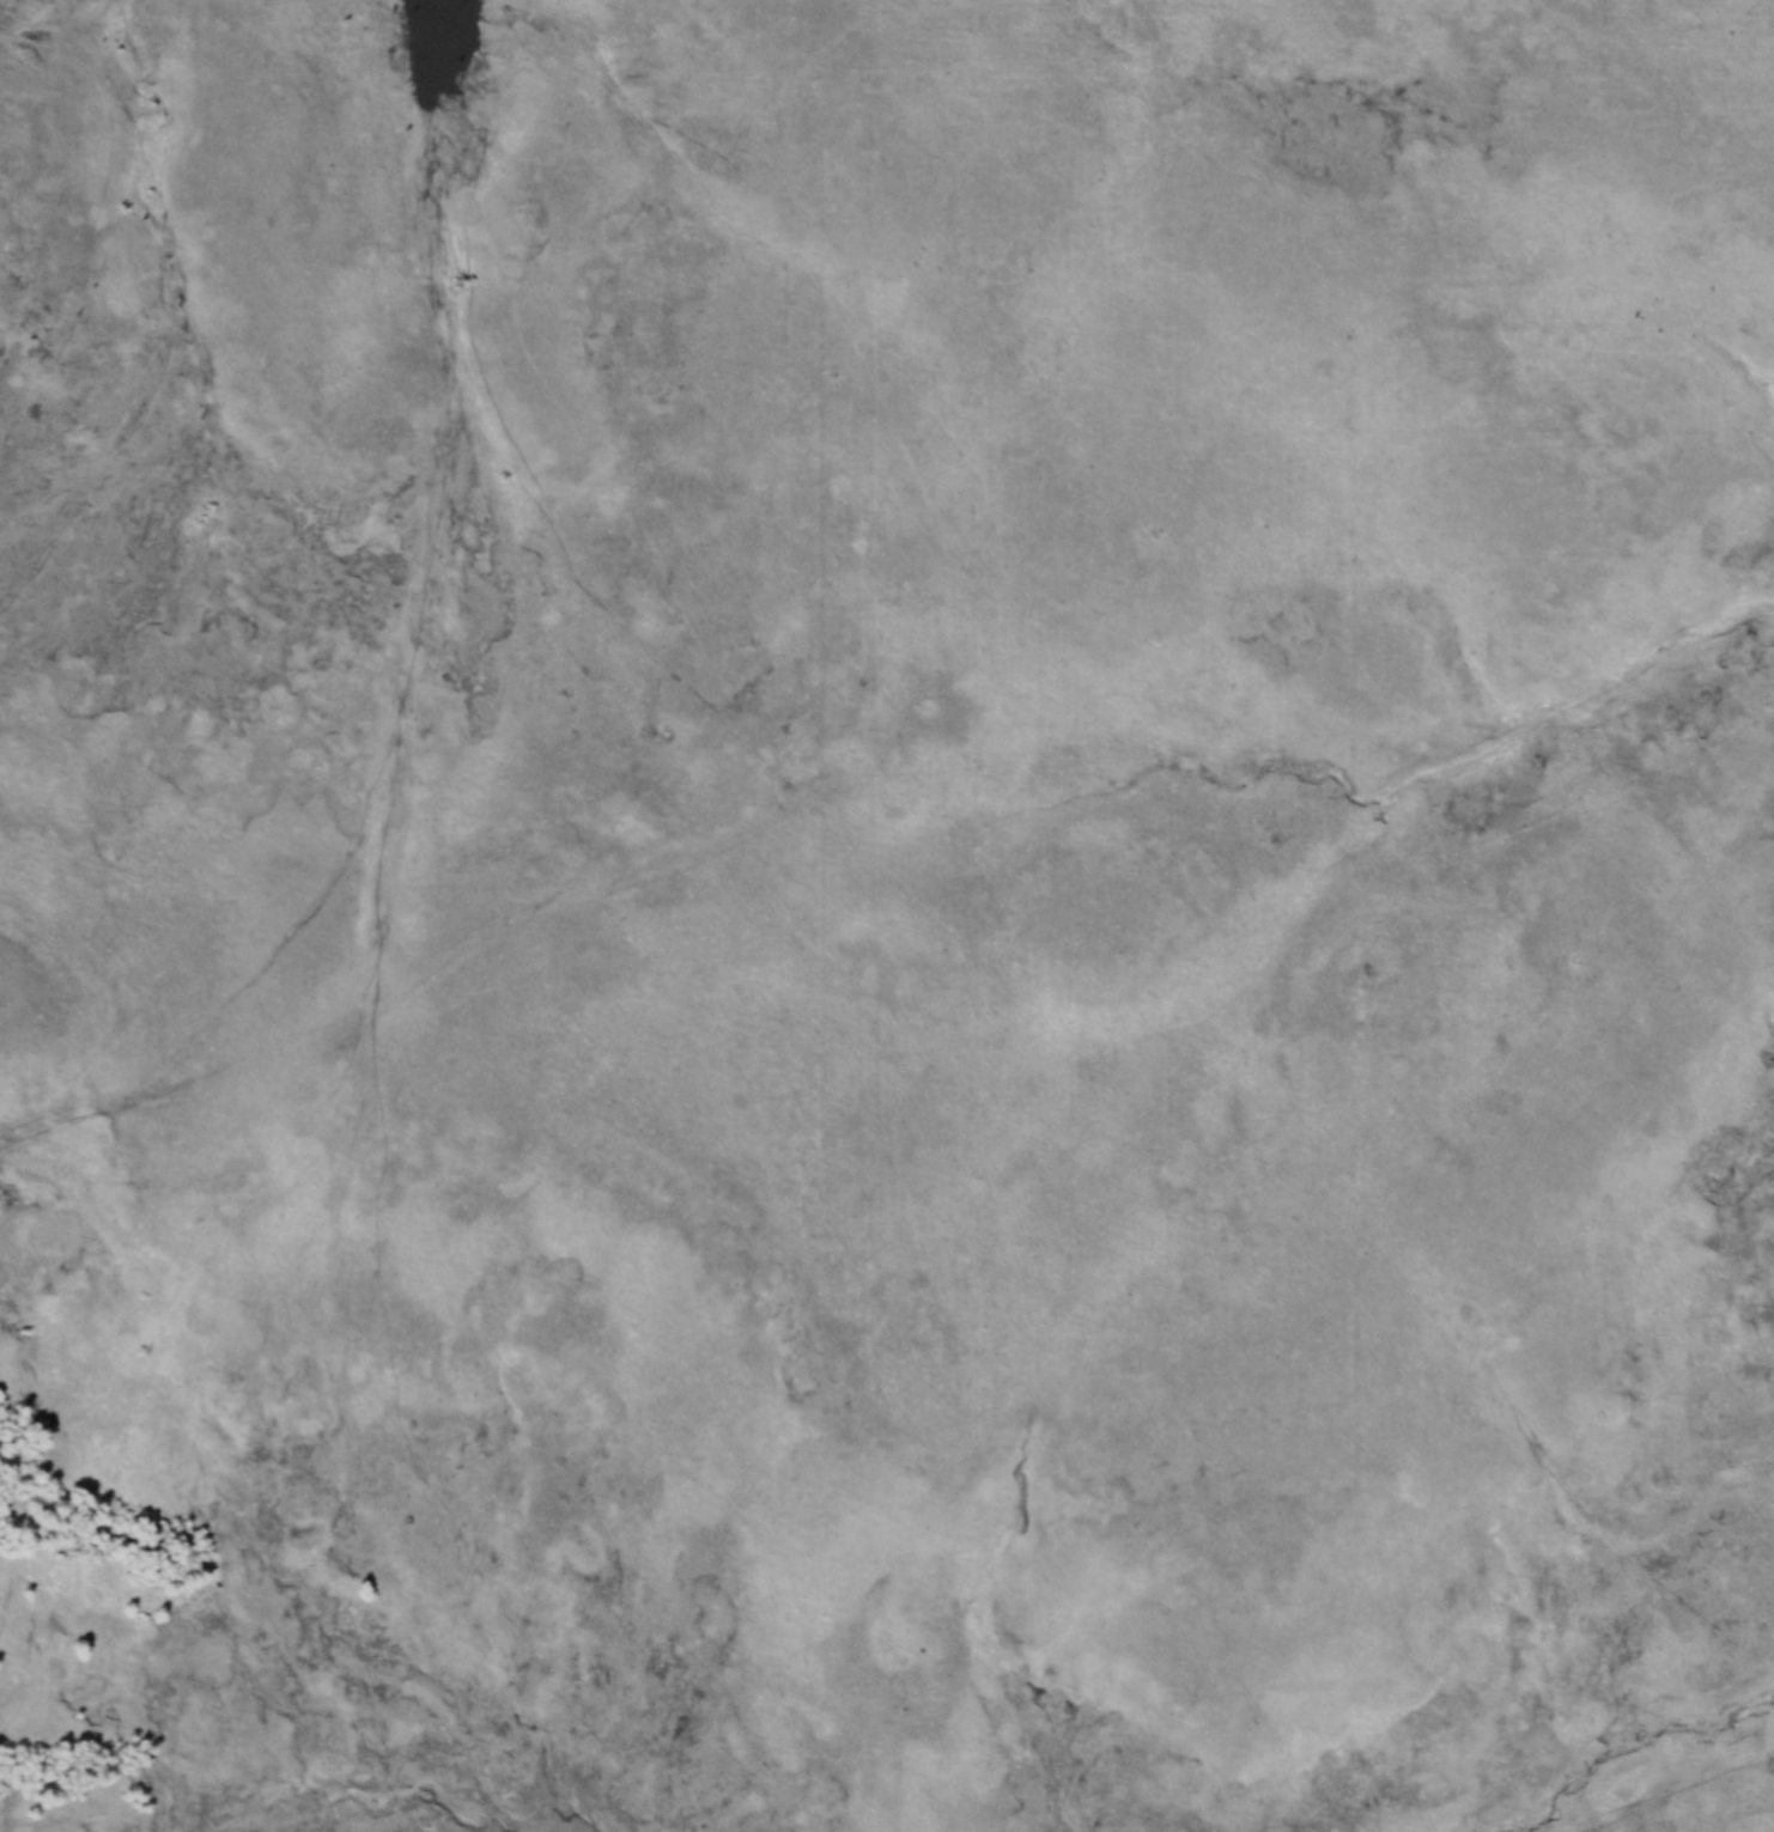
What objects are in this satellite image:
road: (660, 860)
road: (1719, 1730)

